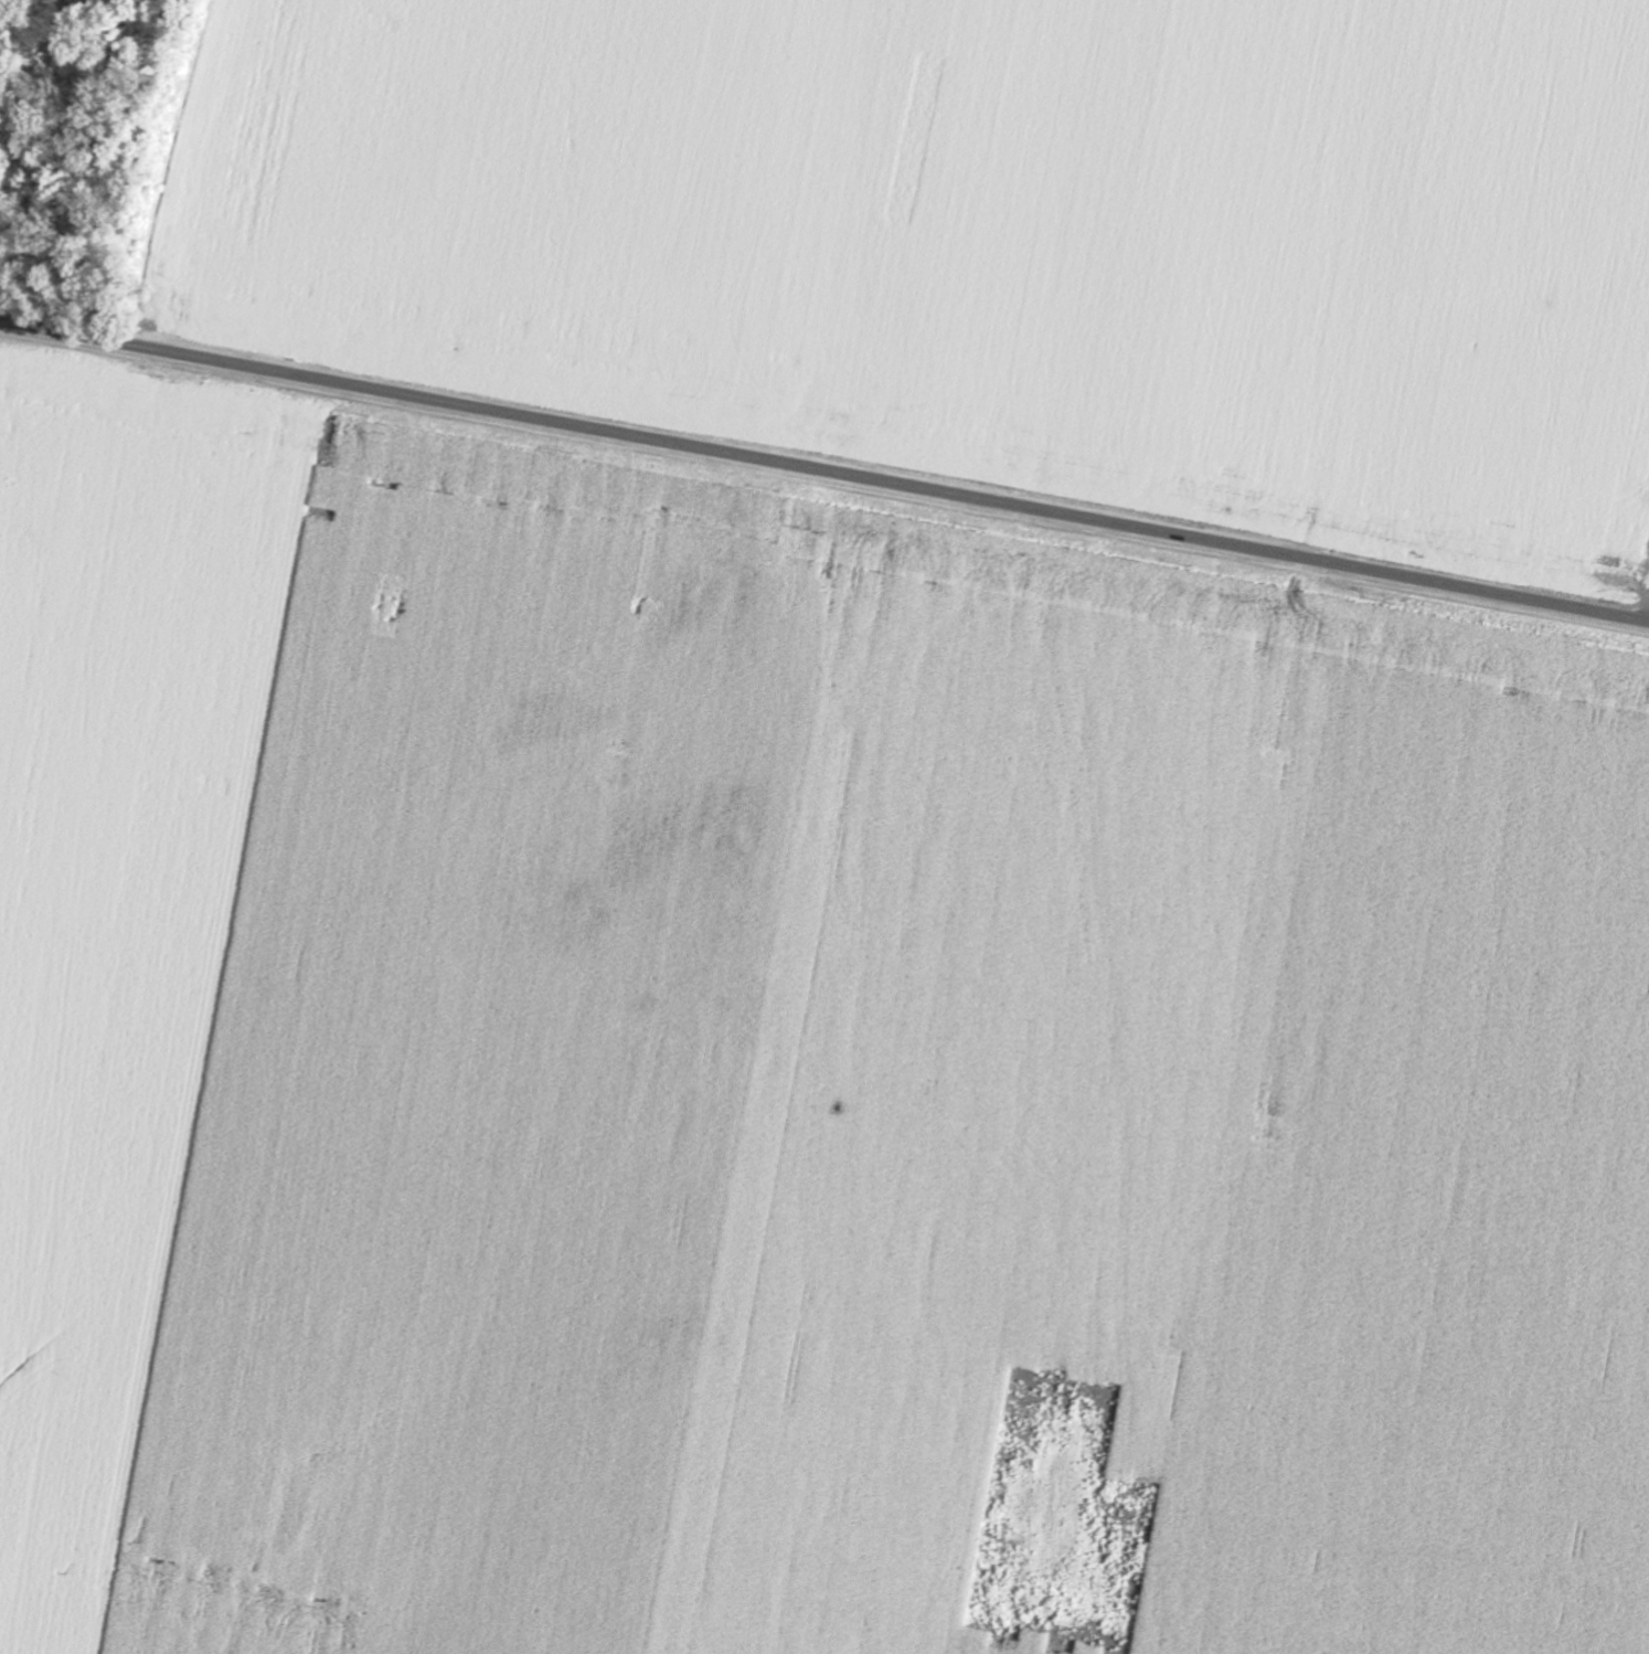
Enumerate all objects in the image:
road: (824, 469)

